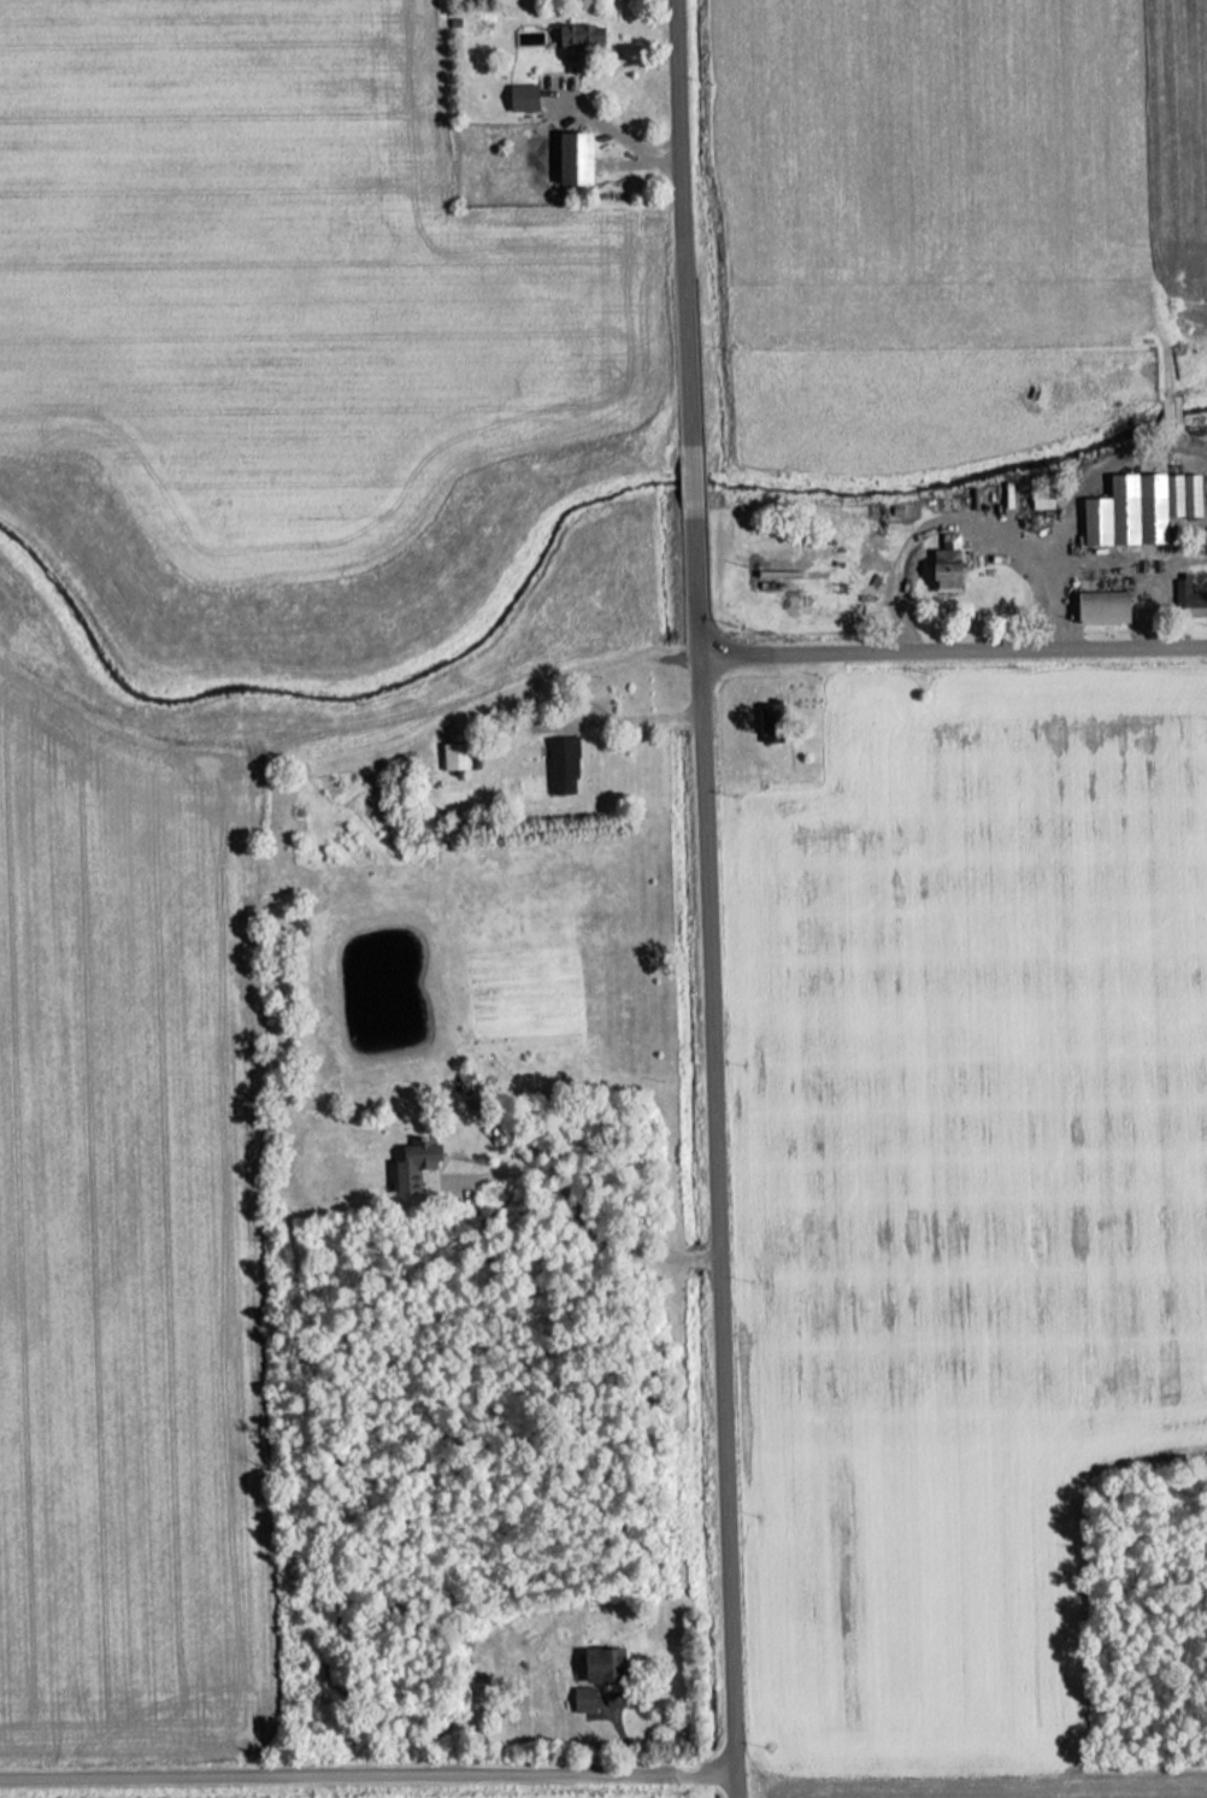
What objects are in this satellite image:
building: (567, 35)
building: (519, 98)
building: (571, 157)
crop: (954, 213)
road: (682, 223)
crop: (285, 283)
road: (1097, 472)
road: (688, 481)
building: (1038, 503)
building: (1137, 506)
road: (964, 524)
road: (1127, 570)
building: (941, 571)
building: (1184, 595)
building: (1101, 607)
road: (950, 647)
road: (634, 716)
building: (765, 718)
building: (451, 756)
building: (559, 765)
road: (719, 1157)
building: (412, 1164)
crop: (971, 1194)
road: (584, 1235)
crop: (131, 1246)
building: (600, 1665)
building: (579, 1700)
road: (370, 1770)
crop: (983, 1787)

